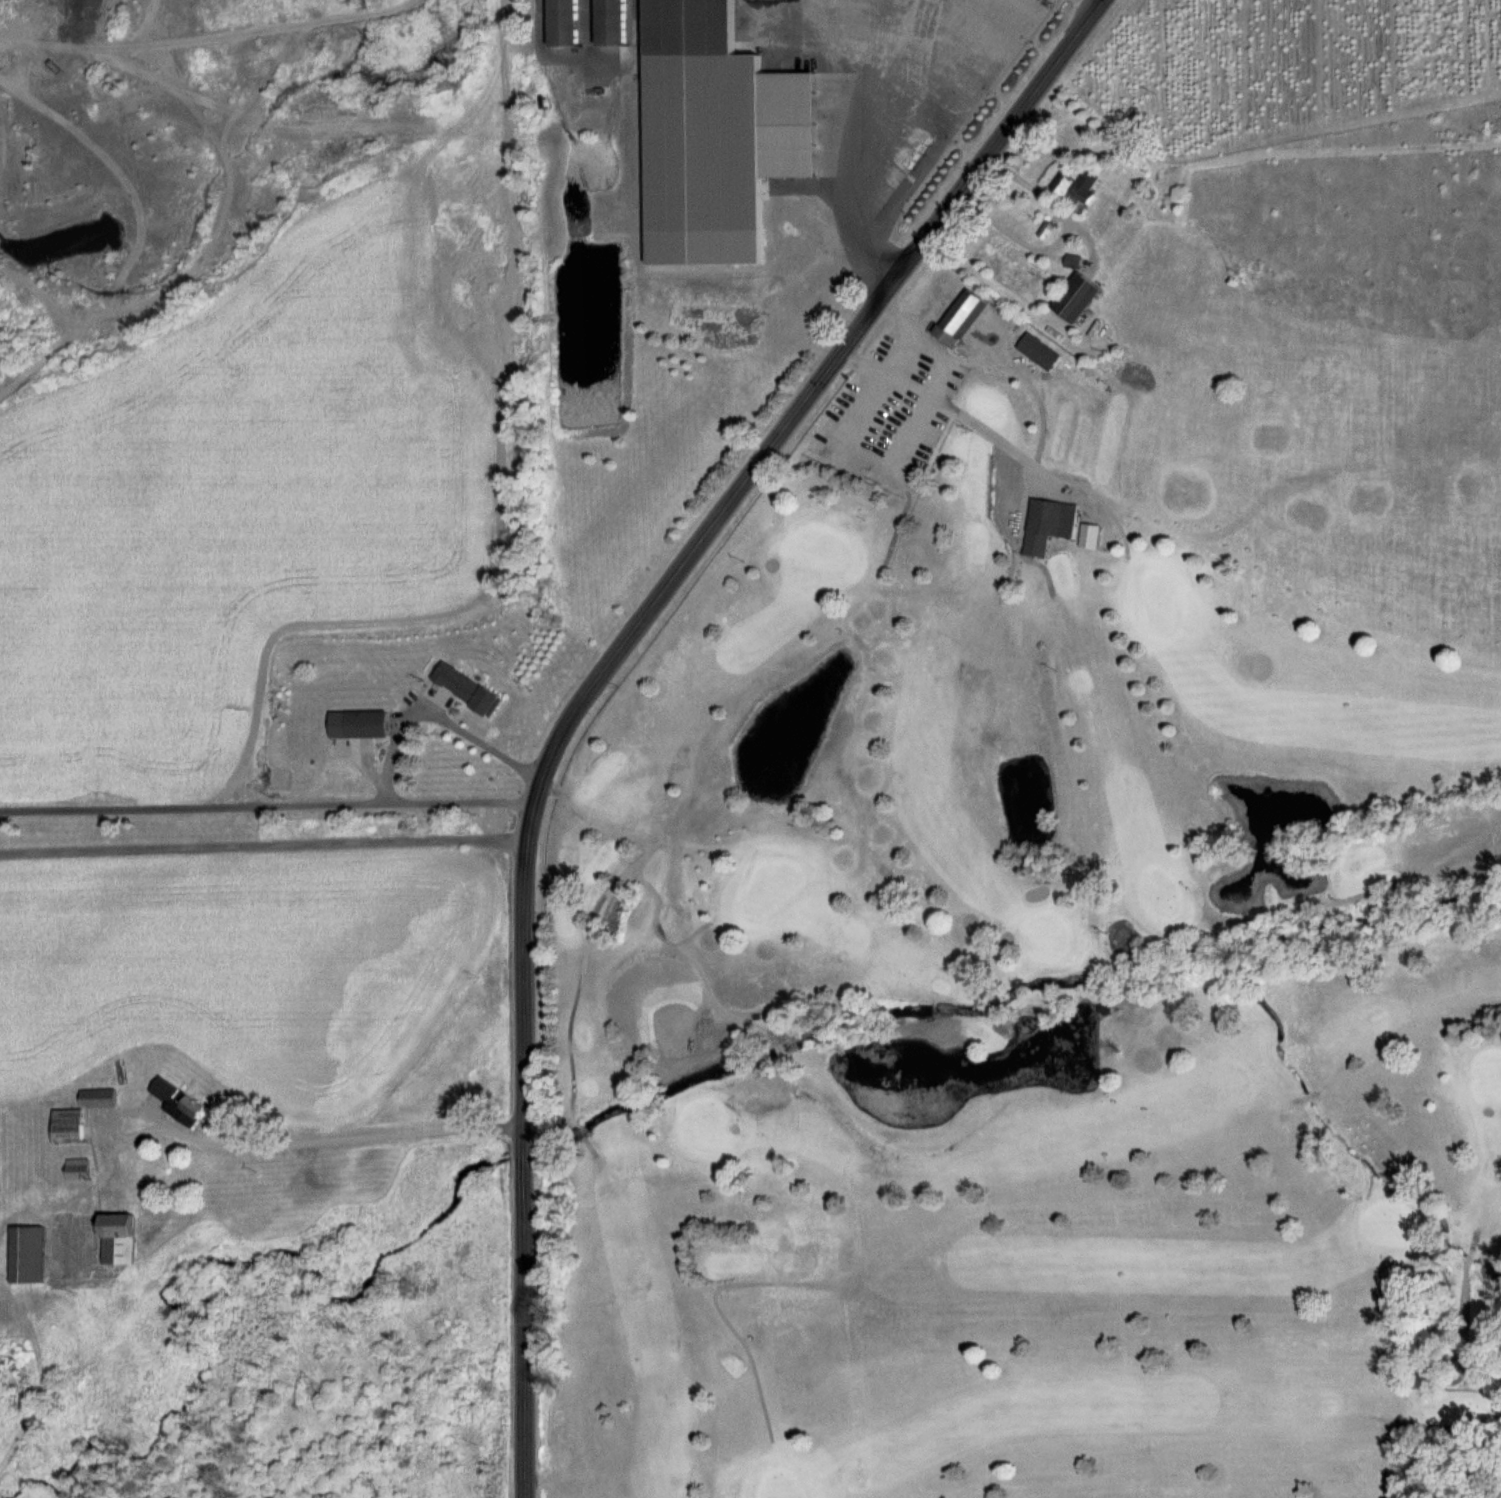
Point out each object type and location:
building: (927, 20)
building: (562, 23)
building: (610, 23)
building: (688, 28)
building: (766, 33)
building: (1079, 188)
road: (1057, 235)
building: (1076, 298)
building: (960, 318)
road: (906, 333)
building: (1039, 351)
parking lot: (902, 396)
road: (958, 409)
building: (1048, 524)
building: (1090, 535)
road: (602, 675)
building: (471, 691)
road: (438, 713)
building: (367, 723)
road: (267, 807)
park: (1052, 941)
building: (98, 1097)
building: (177, 1101)
building: (67, 1126)
road: (327, 1143)
building: (78, 1168)
building: (117, 1238)
building: (27, 1254)

